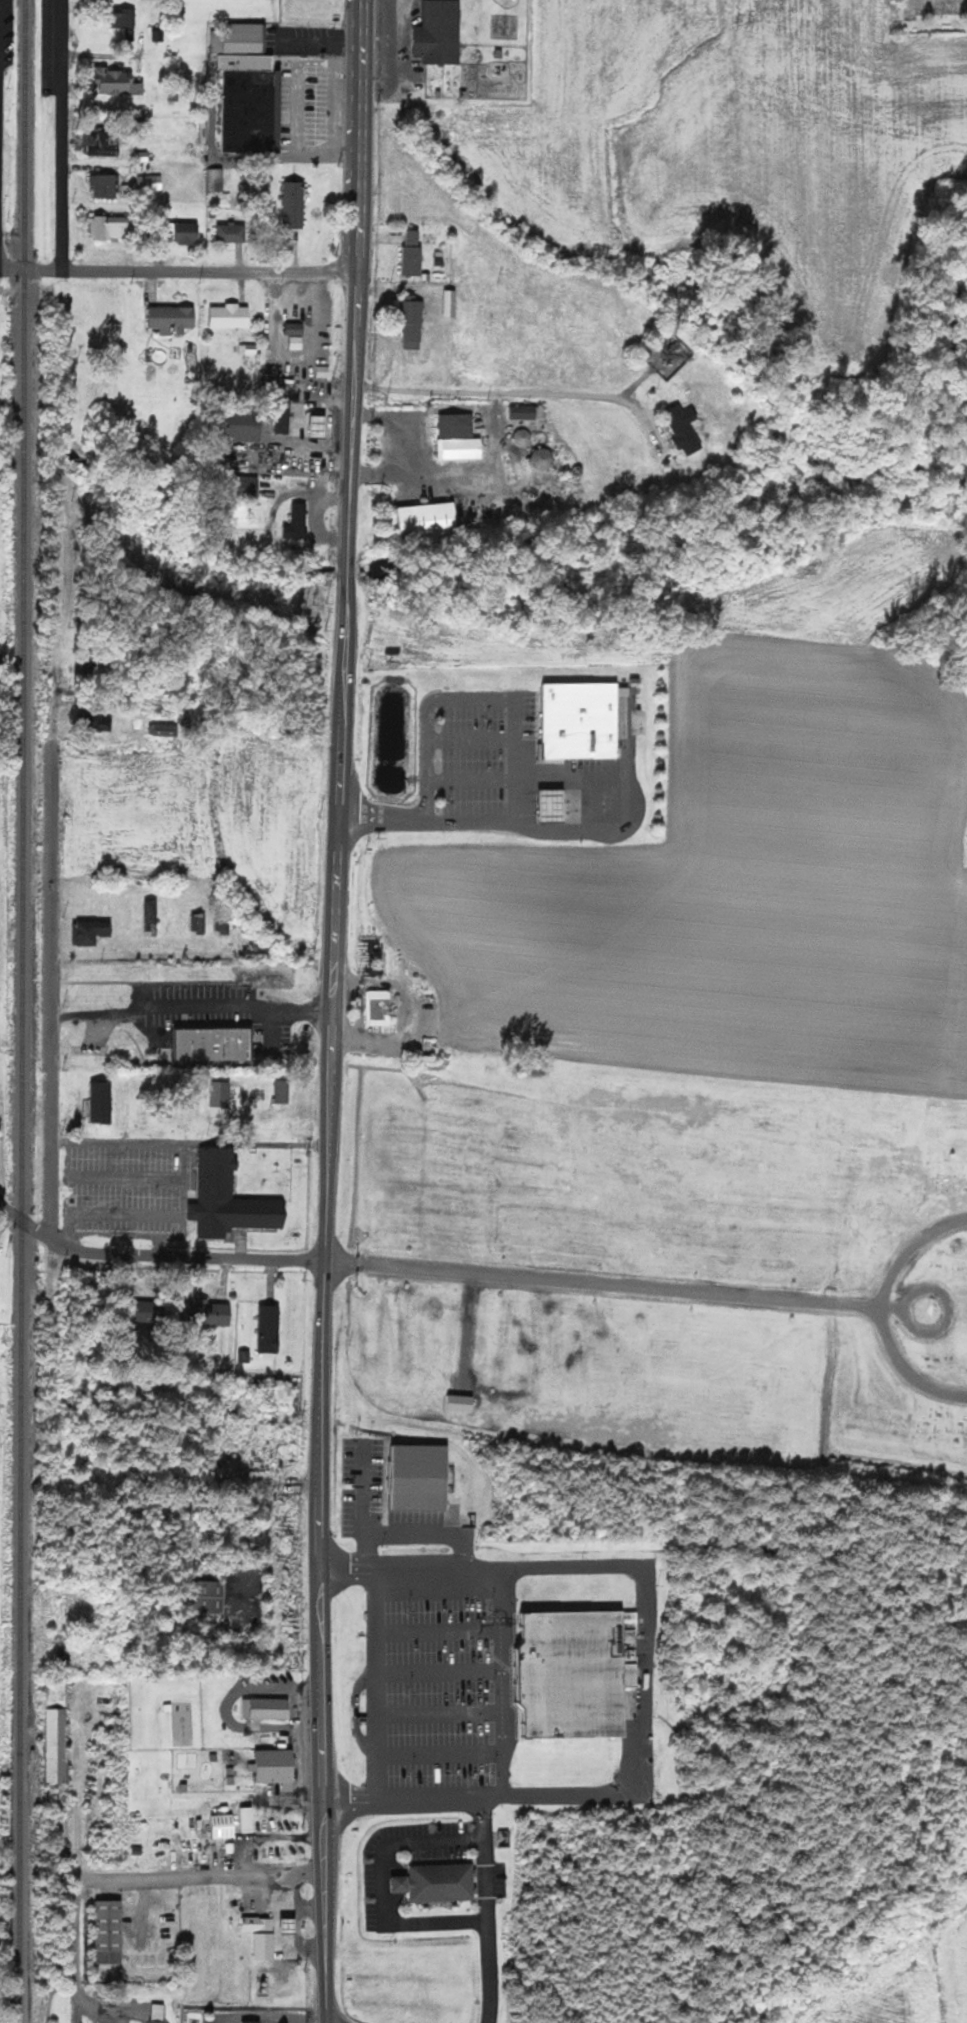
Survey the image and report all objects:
building: (129, 24)
building: (441, 32)
building: (241, 38)
building: (248, 61)
building: (119, 82)
parking lot: (306, 105)
building: (249, 110)
road: (61, 134)
building: (102, 144)
building: (215, 179)
building: (149, 182)
building: (106, 185)
building: (247, 191)
building: (294, 204)
building: (112, 227)
building: (232, 232)
building: (190, 233)
building: (415, 254)
road: (29, 269)
road: (208, 271)
building: (451, 303)
building: (233, 316)
building: (174, 319)
building: (414, 324)
building: (297, 329)
road: (494, 391)
road: (409, 421)
building: (285, 425)
road: (352, 425)
building: (246, 426)
building: (323, 426)
building: (685, 428)
building: (461, 438)
road: (465, 483)
building: (250, 486)
building: (433, 520)
building: (298, 522)
building: (97, 719)
building: (163, 729)
road: (516, 749)
building: (153, 917)
building: (199, 922)
building: (92, 931)
building: (260, 952)
road: (55, 988)
road: (192, 1007)
building: (380, 1007)
railway: (23, 1011)
building: (219, 1042)
building: (282, 1091)
building: (224, 1094)
building: (103, 1101)
road: (157, 1142)
road: (256, 1143)
building: (232, 1198)
road: (141, 1214)
road: (156, 1254)
road: (625, 1285)
road: (880, 1310)
building: (213, 1312)
building: (272, 1328)
road: (325, 1436)
building: (420, 1477)
building: (210, 1596)
road: (644, 1600)
building: (578, 1673)
road: (497, 1685)
building: (268, 1708)
building: (61, 1746)
building: (279, 1767)
road: (403, 1798)
building: (249, 1819)
building: (226, 1826)
road: (147, 1874)
building: (441, 1882)
road: (377, 1887)
road: (480, 1910)
building: (293, 1926)
building: (113, 1932)
building: (263, 1936)
building: (160, 2013)
building: (252, 2021)

